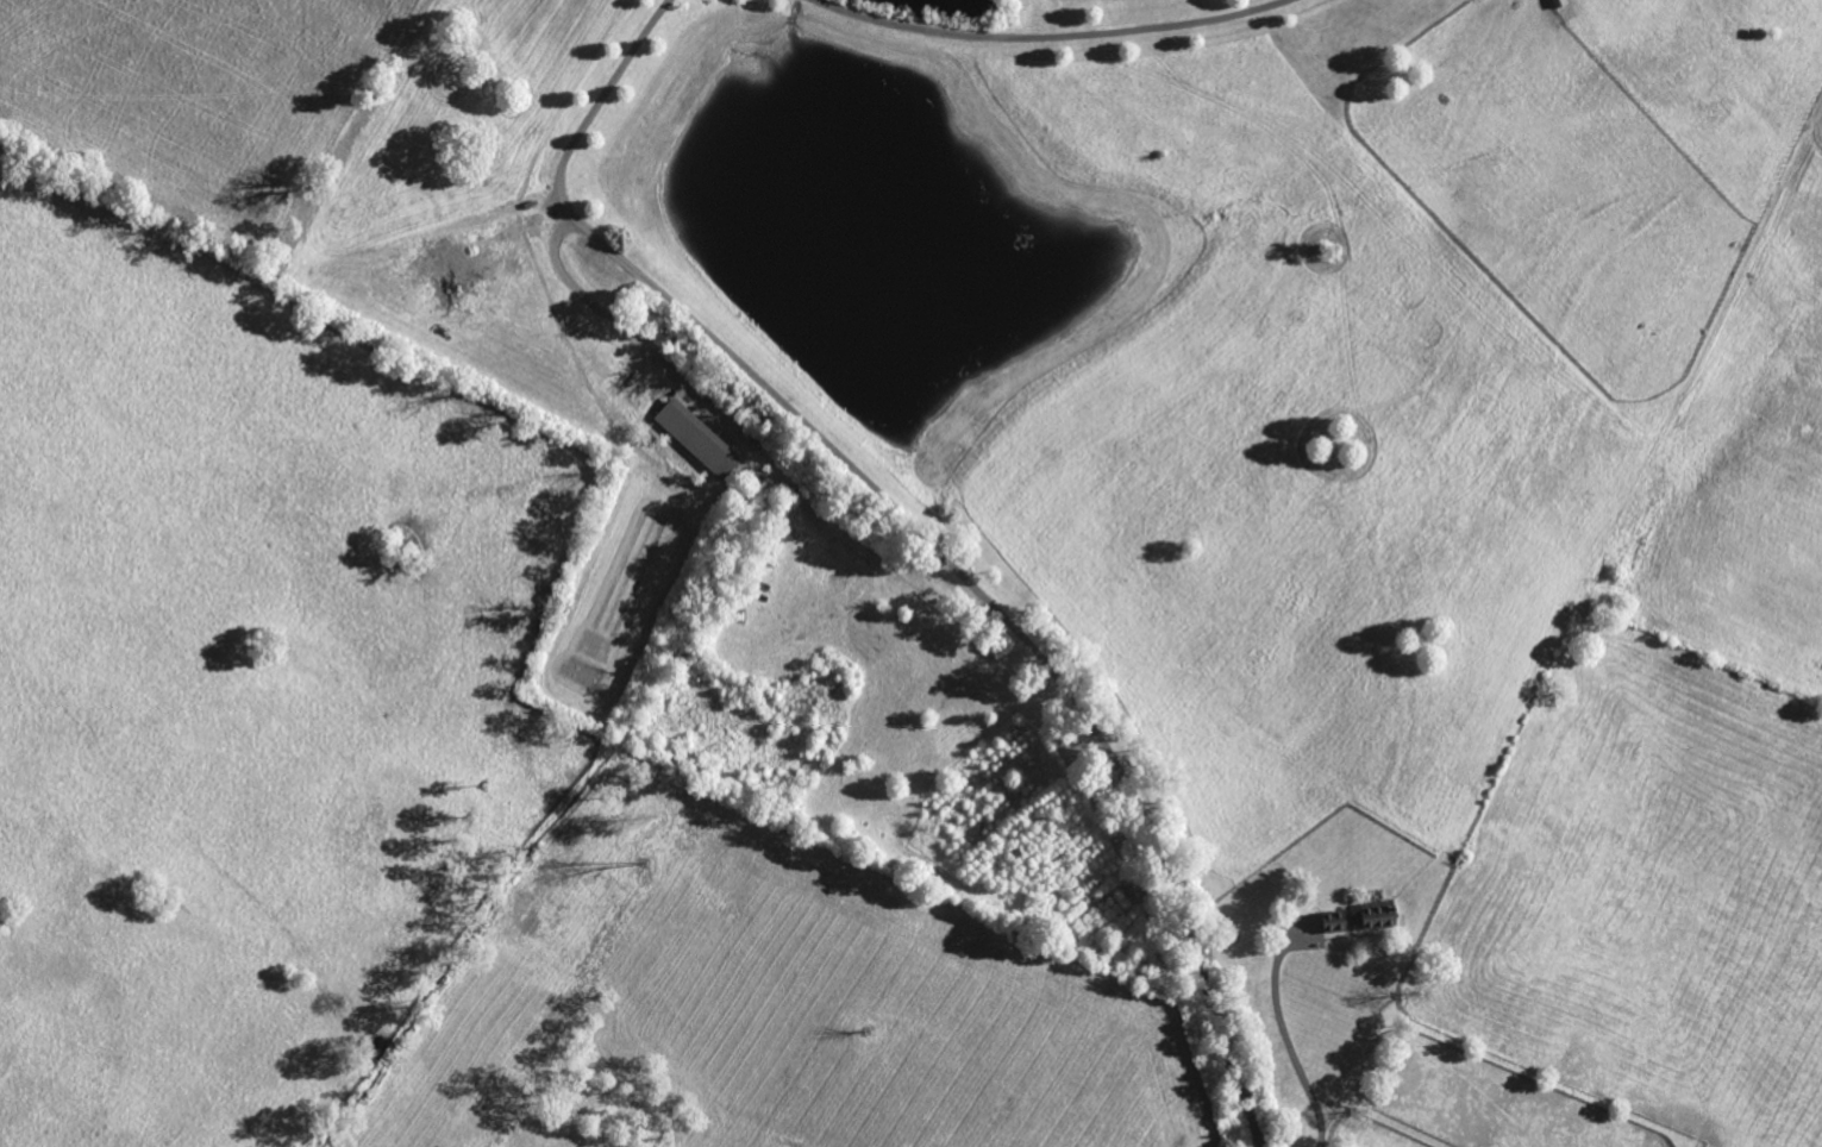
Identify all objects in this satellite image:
road: (1051, 36)
road: (553, 252)
building: (701, 440)
crop: (1203, 495)
road: (1007, 616)
building: (1366, 920)
road: (1283, 1028)
road: (1697, 1143)

